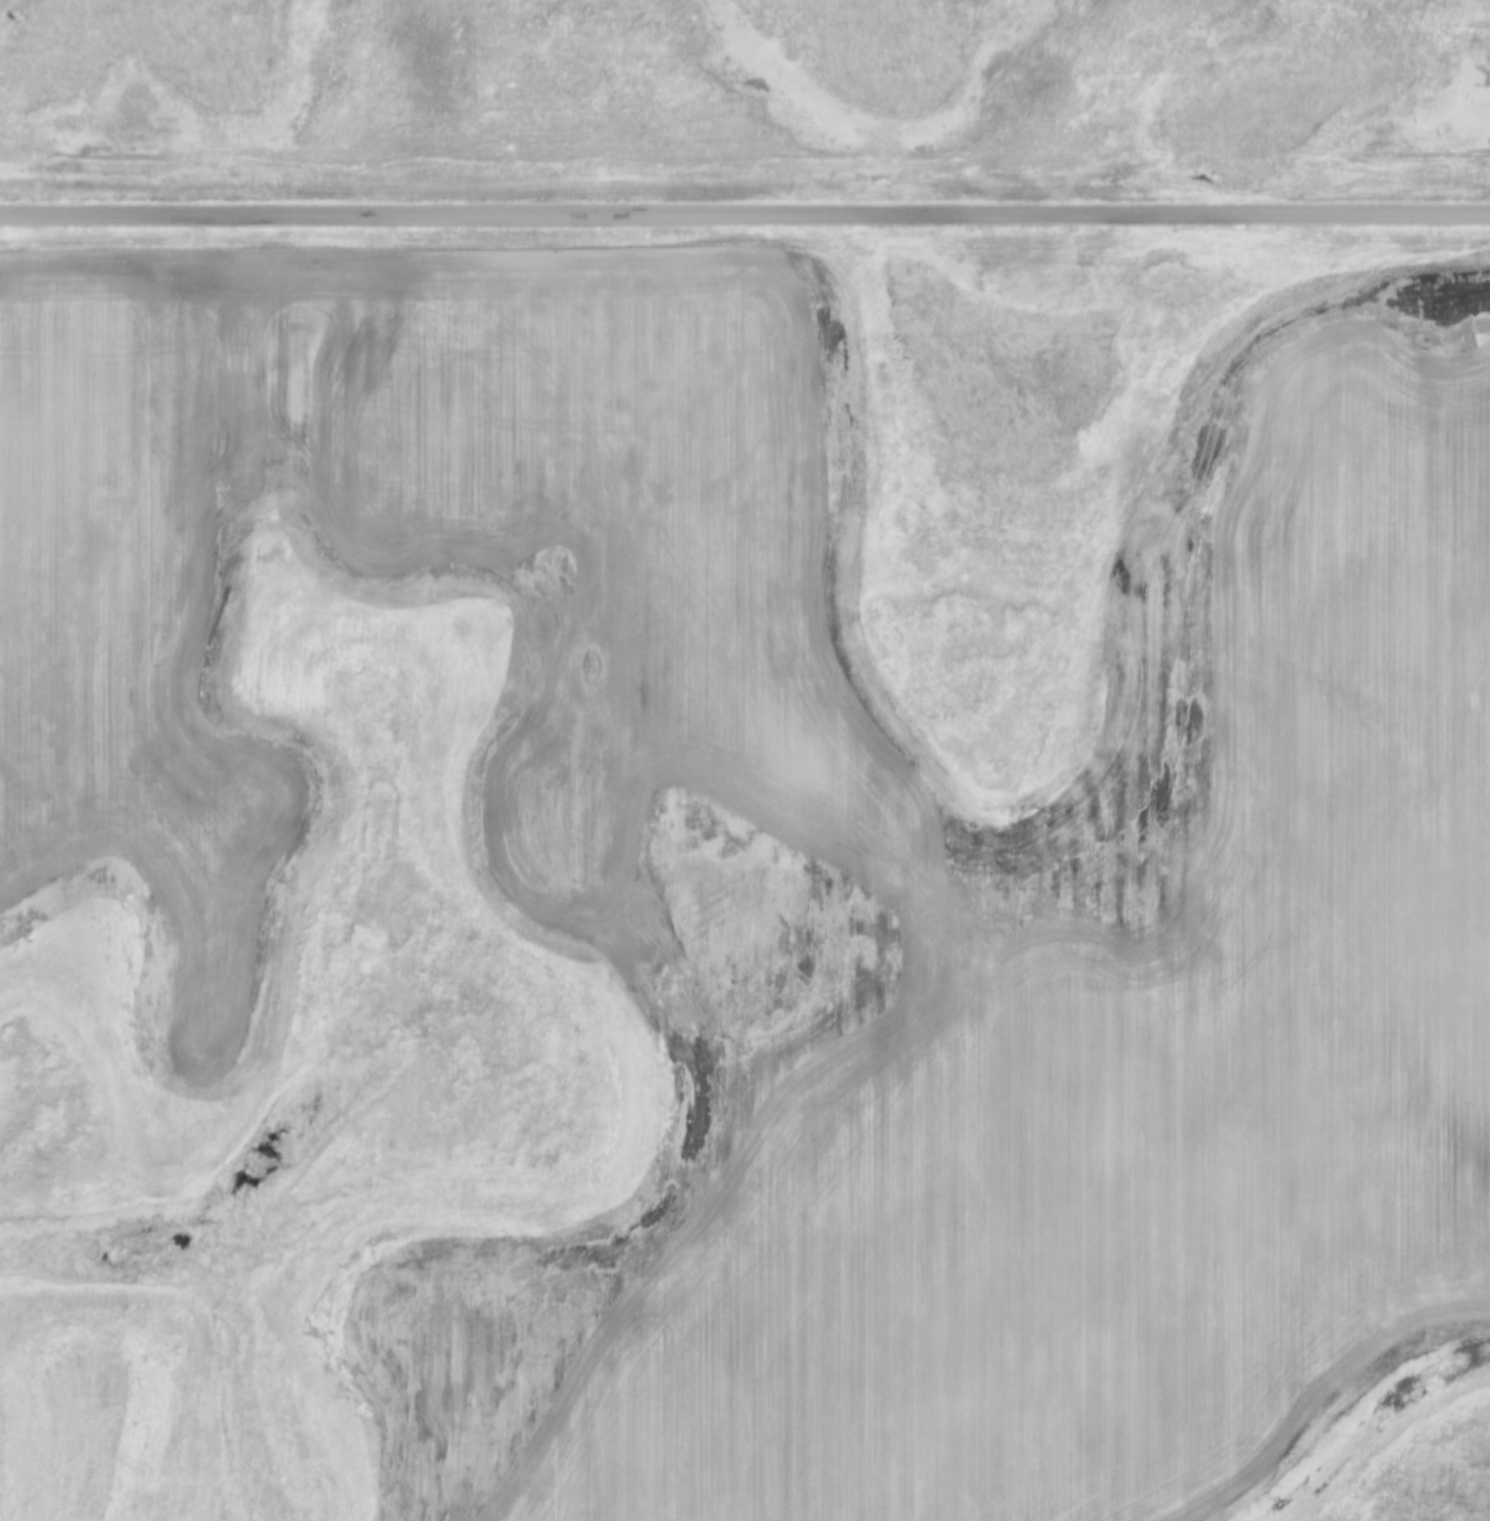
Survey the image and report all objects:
road: (745, 215)

